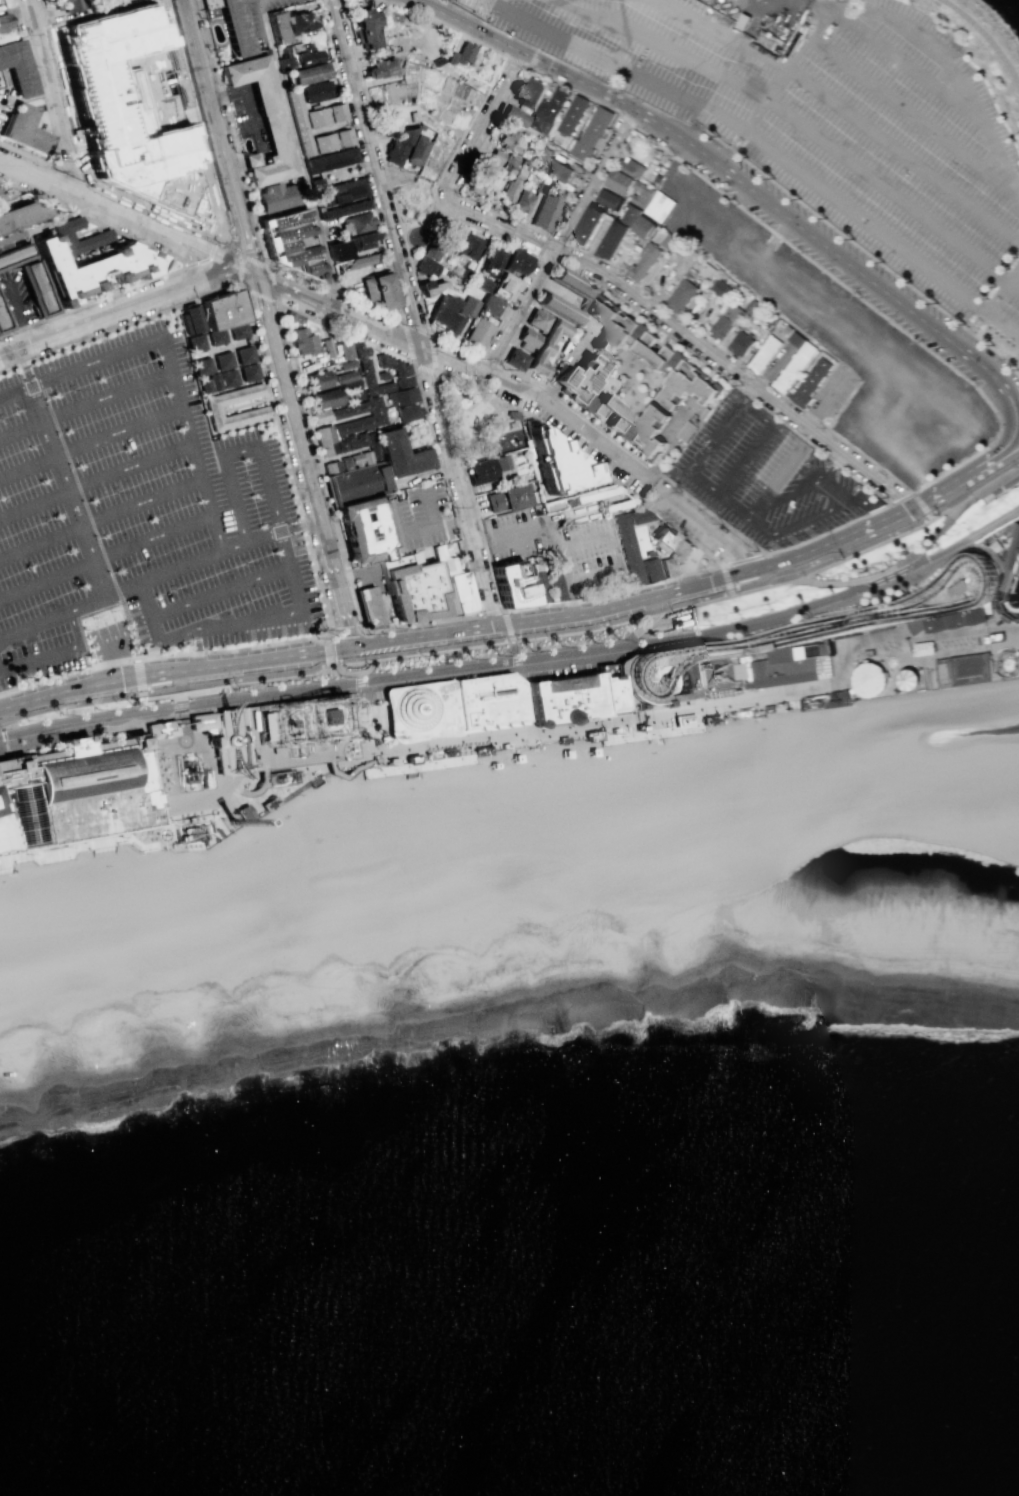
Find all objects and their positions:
building: (111, 1)
road: (786, 4)
building: (67, 5)
building: (298, 23)
road: (468, 24)
building: (4, 27)
building: (364, 27)
building: (277, 28)
park: (982, 35)
road: (985, 37)
road: (660, 52)
building: (459, 53)
building: (299, 57)
road: (801, 57)
road: (531, 58)
road: (516, 60)
road: (903, 66)
road: (617, 67)
building: (16, 68)
building: (379, 68)
building: (308, 74)
building: (317, 91)
road: (226, 92)
building: (255, 93)
building: (529, 93)
road: (417, 94)
road: (26, 96)
road: (55, 97)
parking lot: (5, 101)
road: (211, 105)
building: (132, 106)
road: (839, 107)
building: (546, 111)
building: (337, 112)
road: (47, 114)
parking lot: (248, 115)
building: (571, 115)
building: (515, 116)
building: (318, 117)
road: (627, 118)
road: (754, 119)
road: (195, 120)
building: (300, 120)
road: (482, 122)
road: (252, 123)
parking lot: (829, 127)
building: (22, 130)
road: (232, 133)
building: (589, 135)
building: (343, 137)
building: (325, 142)
building: (510, 142)
building: (397, 146)
road: (730, 149)
building: (415, 150)
road: (299, 153)
road: (83, 158)
building: (493, 159)
road: (251, 160)
building: (331, 160)
building: (533, 160)
building: (510, 161)
road: (235, 163)
road: (748, 163)
building: (629, 167)
building: (560, 171)
road: (1003, 171)
road: (376, 172)
road: (72, 175)
road: (418, 180)
road: (870, 181)
building: (617, 182)
road: (419, 184)
building: (676, 184)
building: (542, 185)
building: (508, 189)
road: (79, 193)
building: (340, 193)
building: (639, 195)
building: (276, 197)
road: (406, 200)
building: (607, 200)
building: (521, 202)
road: (1018, 202)
building: (664, 205)
building: (649, 207)
building: (344, 209)
park: (413, 209)
building: (545, 213)
building: (19, 214)
building: (629, 215)
building: (708, 215)
road: (783, 215)
building: (674, 221)
road: (863, 223)
building: (357, 224)
road: (47, 225)
road: (498, 225)
building: (587, 227)
building: (641, 228)
road: (378, 230)
road: (545, 232)
road: (234, 235)
building: (98, 236)
road: (425, 236)
road: (559, 239)
road: (221, 240)
building: (362, 241)
building: (613, 241)
road: (247, 242)
building: (666, 242)
building: (291, 244)
road: (213, 246)
building: (467, 246)
road: (233, 247)
road: (208, 251)
building: (337, 251)
building: (432, 251)
road: (183, 253)
road: (543, 256)
building: (493, 258)
road: (253, 260)
building: (362, 261)
building: (516, 261)
road: (199, 262)
building: (641, 262)
road: (182, 263)
road: (813, 264)
building: (425, 266)
building: (92, 268)
road: (238, 269)
building: (463, 273)
building: (30, 278)
road: (600, 282)
building: (480, 283)
building: (572, 284)
road: (272, 286)
road: (1013, 287)
building: (428, 288)
building: (503, 288)
building: (721, 290)
road: (1002, 290)
building: (378, 291)
road: (258, 295)
road: (513, 295)
building: (680, 296)
building: (488, 306)
building: (750, 306)
building: (467, 307)
building: (441, 309)
building: (558, 309)
road: (20, 311)
building: (222, 311)
road: (116, 313)
building: (292, 317)
building: (192, 319)
building: (537, 319)
building: (4, 320)
road: (402, 321)
building: (724, 321)
road: (171, 322)
building: (450, 325)
road: (1002, 326)
road: (118, 327)
building: (610, 328)
building: (785, 329)
road: (969, 329)
building: (239, 333)
building: (477, 335)
road: (394, 337)
building: (217, 338)
building: (527, 338)
building: (303, 342)
building: (197, 344)
building: (739, 344)
building: (326, 347)
building: (544, 347)
building: (345, 350)
building: (358, 350)
building: (653, 351)
building: (763, 353)
road: (173, 355)
road: (857, 355)
building: (245, 356)
building: (515, 359)
road: (487, 360)
building: (224, 362)
building: (793, 362)
road: (740, 363)
building: (346, 364)
building: (392, 365)
building: (364, 366)
road: (26, 368)
building: (202, 368)
road: (468, 368)
road: (737, 373)
building: (250, 374)
building: (345, 376)
building: (382, 376)
building: (228, 380)
building: (367, 380)
building: (577, 380)
building: (315, 381)
building: (215, 382)
building: (403, 382)
building: (809, 383)
building: (206, 387)
building: (353, 389)
building: (378, 389)
building: (687, 389)
road: (478, 390)
building: (402, 396)
building: (326, 399)
road: (88, 403)
building: (253, 413)
building: (402, 413)
building: (604, 414)
building: (703, 415)
building: (318, 416)
road: (1017, 416)
building: (373, 417)
park: (480, 421)
road: (267, 429)
building: (685, 432)
building: (646, 434)
road: (1011, 434)
road: (591, 436)
building: (362, 439)
building: (325, 440)
road: (92, 442)
building: (351, 442)
building: (341, 444)
building: (373, 445)
road: (1013, 450)
building: (400, 455)
road: (700, 455)
building: (366, 457)
road: (284, 459)
road: (306, 459)
building: (355, 459)
building: (967, 462)
building: (345, 463)
road: (320, 467)
building: (331, 467)
building: (555, 467)
road: (833, 467)
building: (486, 468)
road: (442, 474)
parking lot: (761, 476)
road: (97, 480)
road: (960, 481)
road: (652, 483)
building: (358, 484)
road: (457, 485)
road: (972, 487)
road: (69, 490)
building: (595, 495)
road: (898, 497)
building: (507, 499)
building: (866, 500)
building: (567, 501)
road: (918, 503)
road: (838, 504)
building: (550, 505)
building: (618, 505)
road: (856, 514)
parking lot: (137, 515)
road: (102, 519)
road: (91, 520)
road: (871, 524)
railway: (991, 526)
road: (304, 527)
road: (711, 527)
building: (365, 532)
road: (512, 532)
parking lot: (516, 533)
building: (663, 539)
road: (582, 540)
road: (254, 541)
building: (630, 541)
road: (612, 550)
road: (106, 556)
parking lot: (588, 557)
building: (674, 558)
railway: (932, 558)
road: (291, 559)
building: (393, 563)
road: (726, 563)
building: (1011, 563)
road: (886, 569)
building: (650, 570)
road: (563, 575)
road: (591, 575)
building: (972, 577)
building: (554, 583)
building: (452, 584)
road: (729, 585)
road: (890, 585)
building: (538, 586)
building: (503, 588)
road: (222, 591)
road: (110, 592)
road: (612, 592)
building: (413, 593)
road: (671, 594)
building: (368, 607)
road: (490, 611)
road: (895, 614)
road: (504, 616)
building: (1002, 621)
building: (945, 622)
road: (644, 624)
road: (80, 631)
road: (509, 631)
road: (594, 631)
road: (326, 633)
road: (897, 633)
road: (427, 635)
road: (113, 636)
building: (995, 637)
road: (469, 641)
traffic signals: (347, 647)
road: (231, 648)
building: (147, 649)
building: (922, 649)
road: (612, 653)
road: (943, 653)
road: (35, 662)
road: (468, 664)
building: (788, 667)
road: (368, 668)
road: (172, 670)
road: (345, 671)
railway: (460, 671)
building: (964, 671)
road: (67, 675)
road: (140, 678)
building: (655, 678)
road: (143, 688)
building: (608, 690)
road: (929, 691)
road: (523, 695)
road: (256, 697)
building: (563, 701)
building: (838, 701)
road: (178, 703)
building: (816, 704)
road: (706, 705)
building: (790, 706)
building: (451, 707)
building: (767, 709)
road: (144, 711)
road: (366, 714)
building: (744, 714)
theme park: (503, 715)
road: (163, 717)
road: (181, 718)
building: (708, 721)
building: (638, 728)
road: (75, 729)
building: (612, 730)
building: (298, 732)
building: (591, 735)
railway: (6, 736)
building: (561, 740)
road: (3, 742)
building: (480, 750)
road: (387, 753)
building: (409, 760)
building: (391, 762)
building: (14, 765)
road: (303, 766)
road: (351, 771)
road: (260, 778)
building: (273, 778)
building: (92, 785)
road: (236, 787)
road: (237, 791)
building: (268, 803)
road: (343, 804)
building: (243, 811)
building: (19, 812)
road: (181, 816)
road: (310, 823)
road: (98, 831)
road: (78, 832)
building: (3, 836)
road: (99, 838)
building: (336, 843)
road: (77, 846)
building: (673, 929)
river: (954, 950)
building: (211, 993)

